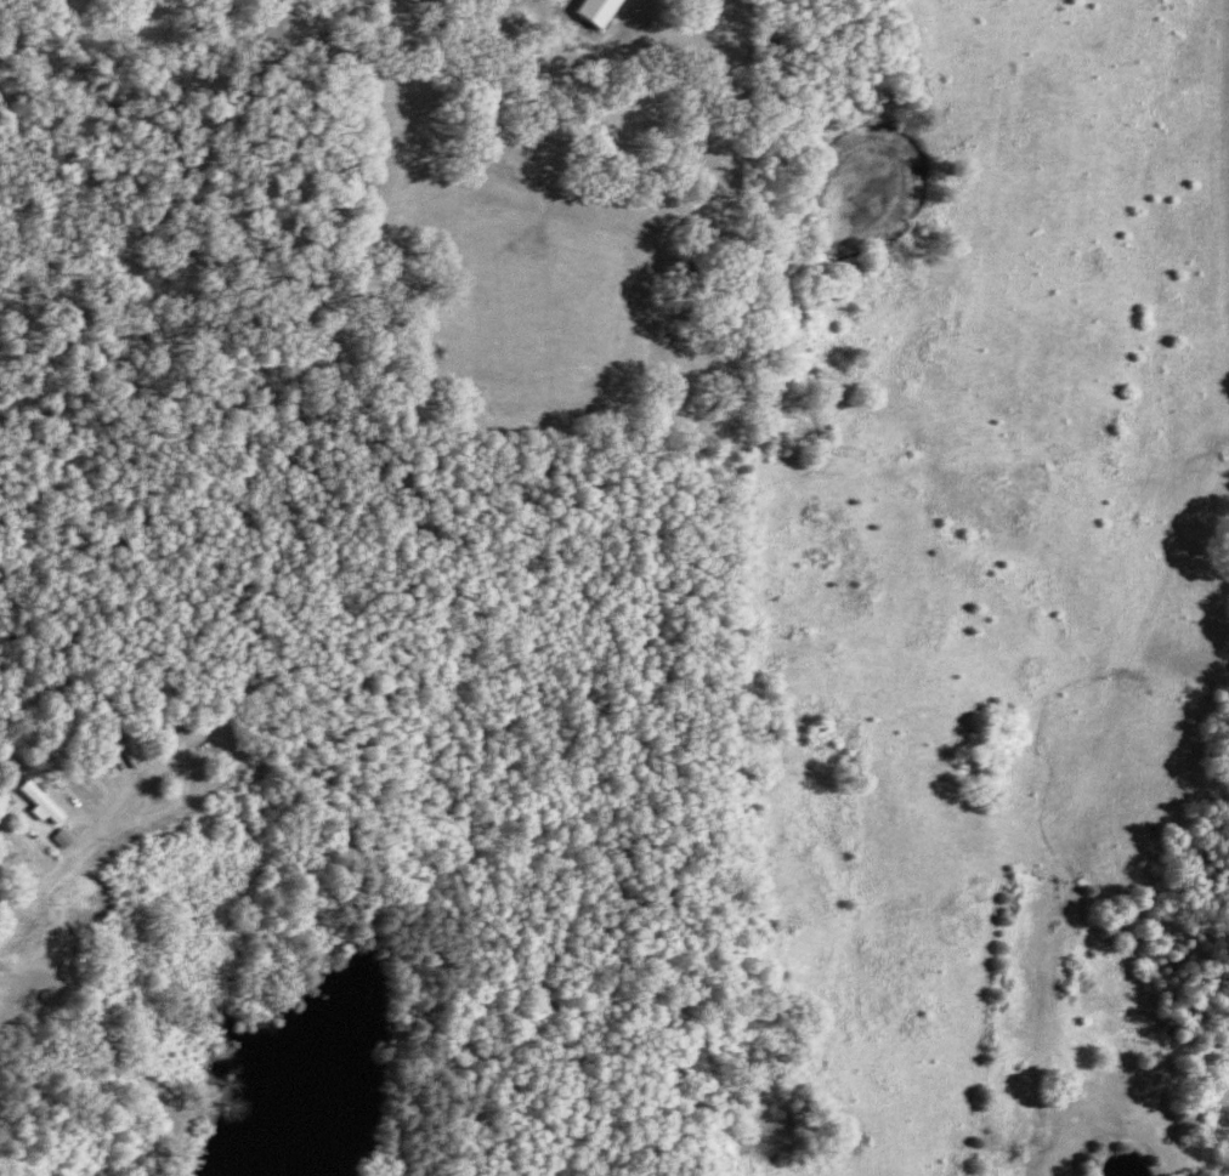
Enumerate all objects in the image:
building: (600, 10)
building: (44, 801)
road: (138, 819)
building: (64, 836)
building: (18, 843)
road: (41, 881)

